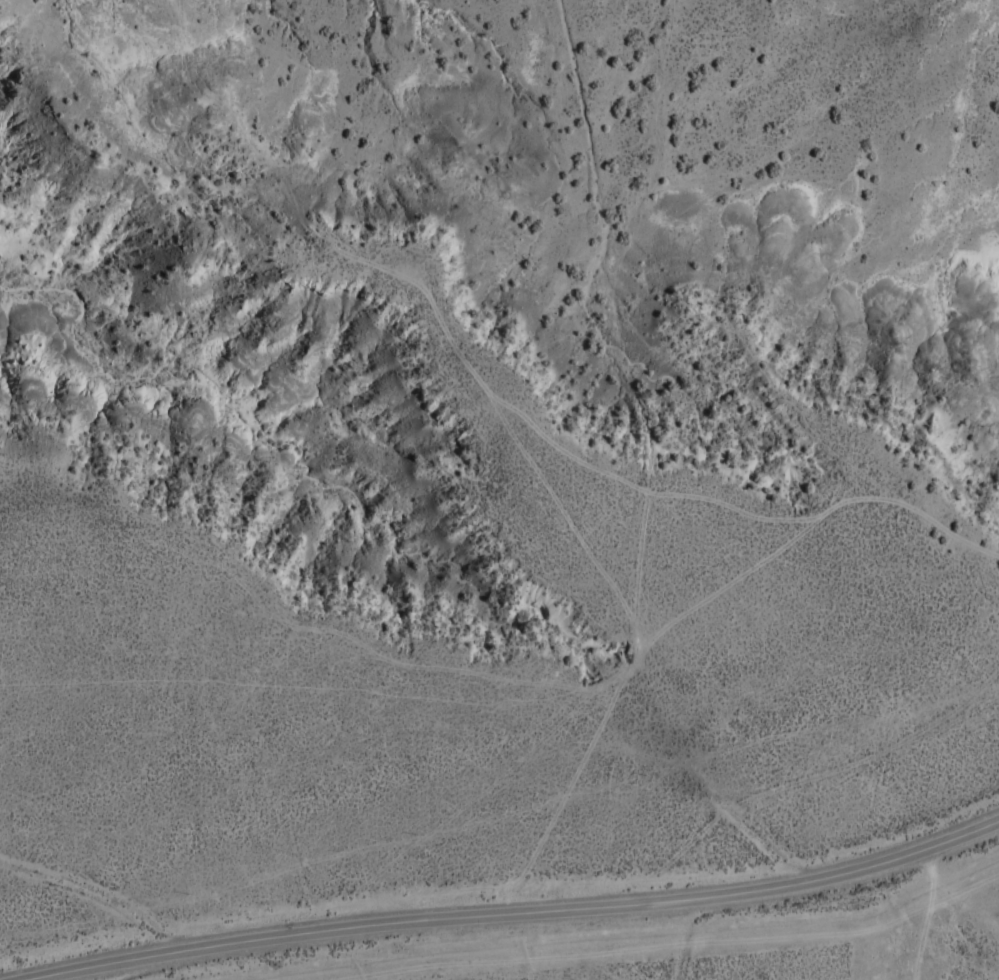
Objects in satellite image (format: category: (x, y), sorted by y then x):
road: (515, 914)

